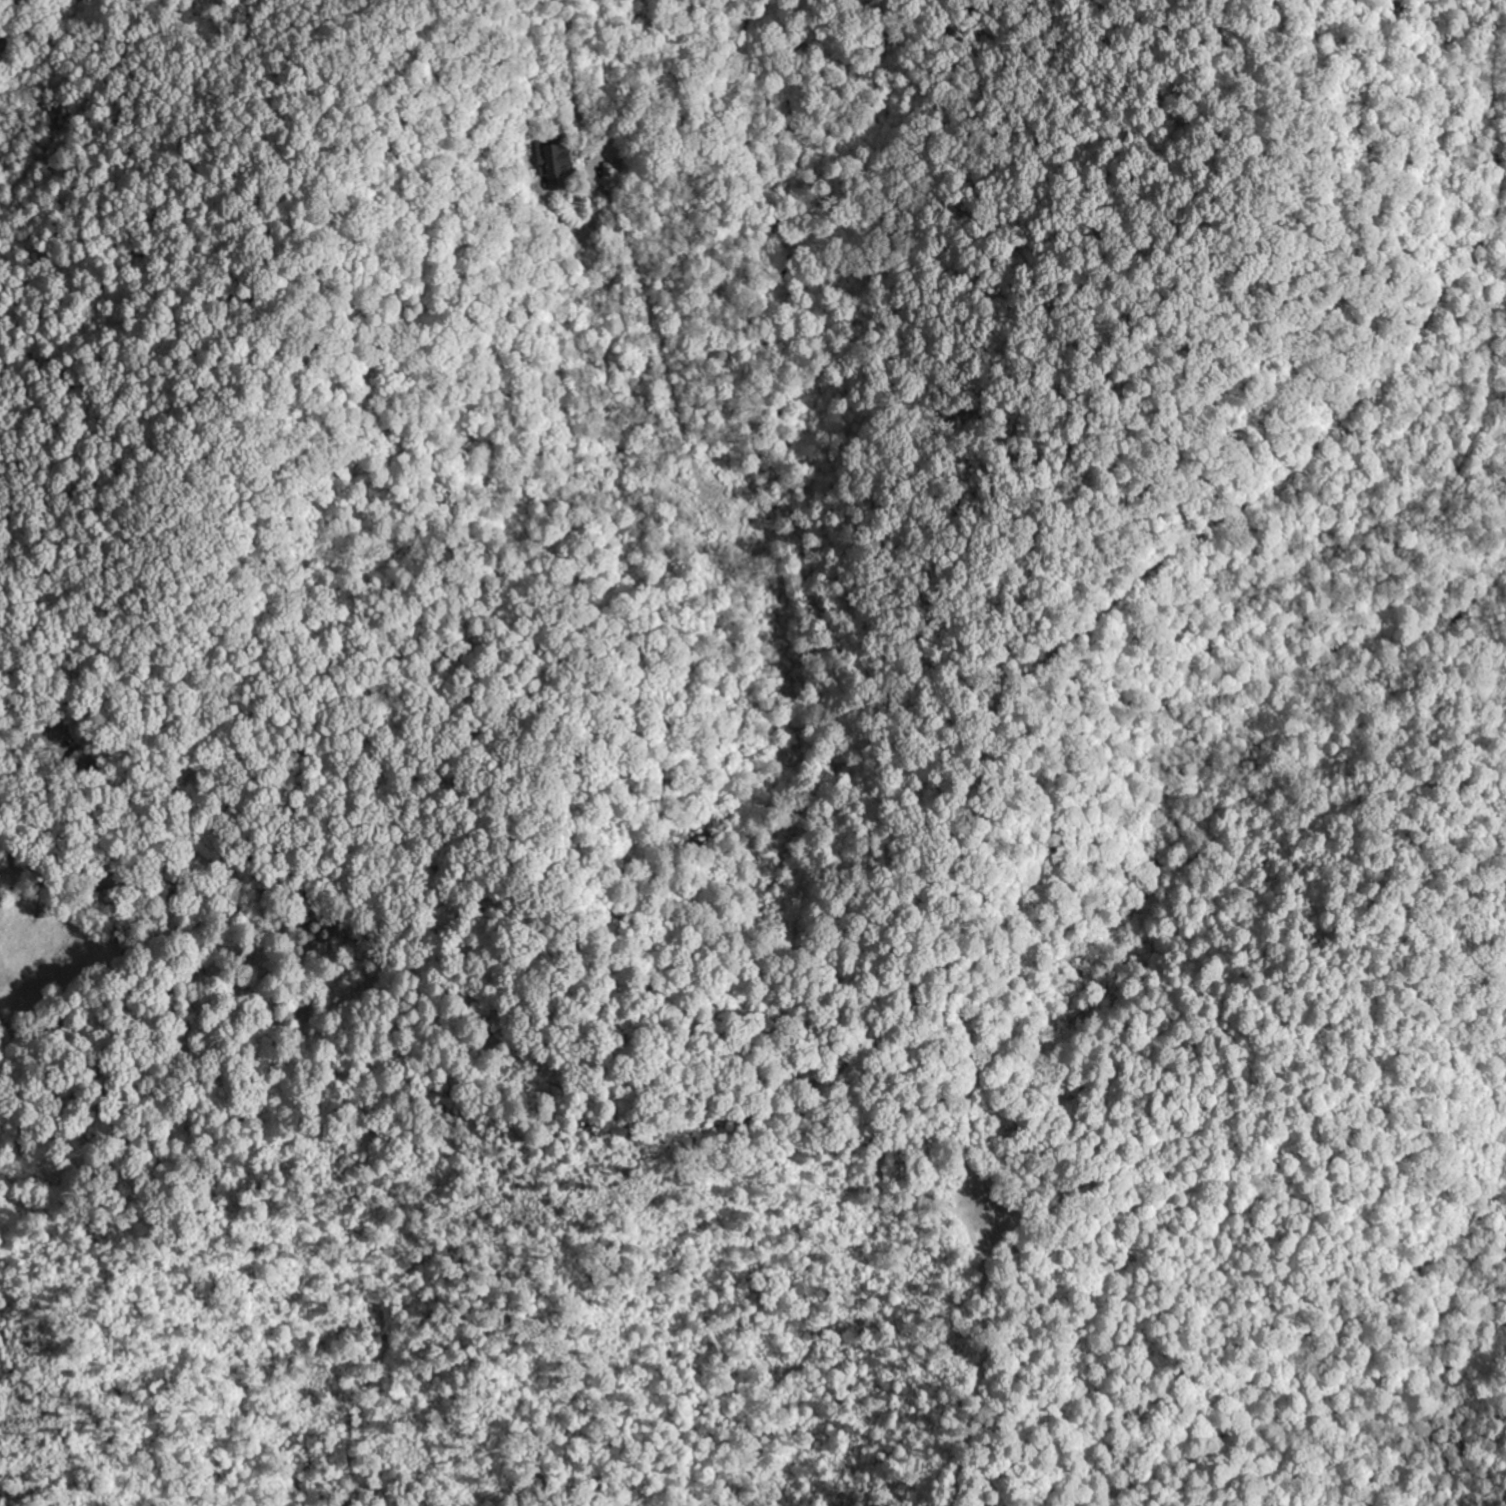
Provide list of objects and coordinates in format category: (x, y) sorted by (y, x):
road: (13, 20)
road: (1179, 99)

